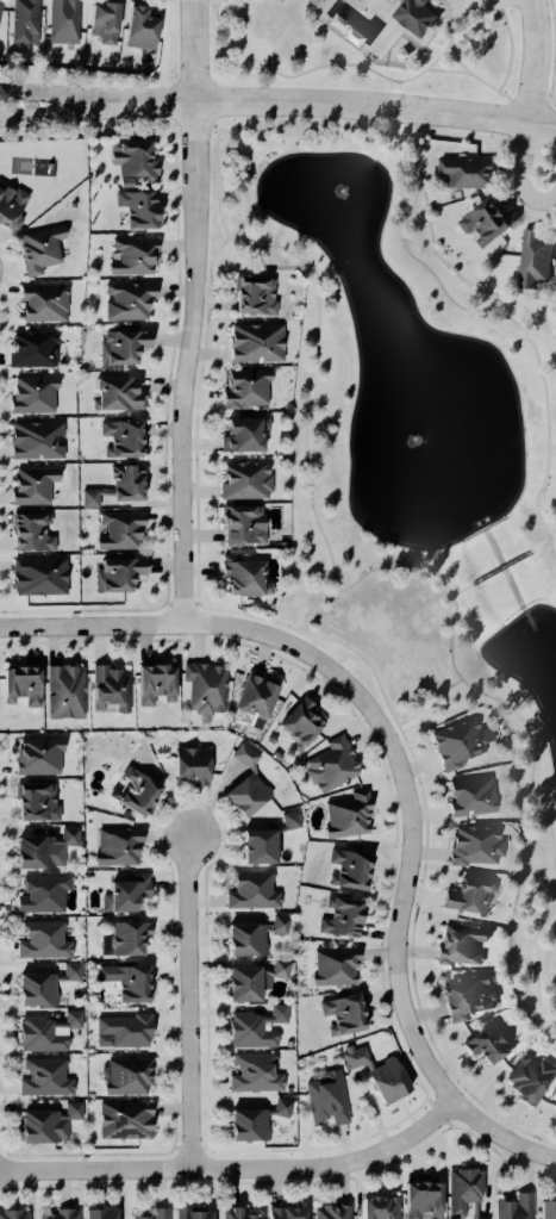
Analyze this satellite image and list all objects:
street lamp: (437, 2)
road: (474, 2)
road: (500, 4)
building: (0, 6)
road: (430, 6)
parking lot: (466, 6)
building: (413, 15)
building: (62, 20)
building: (23, 21)
building: (101, 21)
building: (138, 29)
road: (221, 33)
park: (362, 46)
road: (510, 50)
road: (554, 52)
road: (457, 61)
road: (532, 61)
road: (338, 63)
road: (444, 68)
road: (213, 80)
road: (193, 82)
street lamp: (548, 91)
road: (69, 93)
road: (527, 99)
street lamp: (491, 100)
road: (548, 100)
road: (175, 101)
road: (211, 102)
road: (348, 105)
road: (68, 108)
road: (510, 117)
street lamp: (107, 119)
street lamp: (358, 120)
road: (193, 122)
road: (174, 124)
road: (213, 125)
road: (413, 129)
road: (532, 138)
road: (507, 139)
road: (523, 154)
building: (131, 160)
building: (463, 170)
building: (124, 181)
street lamp: (181, 188)
road: (535, 201)
building: (10, 206)
building: (136, 207)
fountain: (341, 207)
building: (482, 220)
road: (226, 238)
building: (37, 248)
road: (215, 249)
building: (131, 254)
building: (531, 257)
road: (5, 269)
street lamp: (0, 281)
building: (252, 294)
building: (125, 299)
building: (42, 301)
road: (195, 311)
road: (500, 313)
road: (316, 330)
building: (255, 342)
building: (119, 346)
building: (30, 348)
building: (244, 386)
building: (30, 393)
building: (114, 393)
road: (196, 434)
building: (240, 434)
building: (119, 437)
fountain: (426, 437)
building: (33, 440)
road: (550, 446)
road: (165, 447)
street lamp: (171, 464)
park: (413, 467)
building: (243, 479)
building: (123, 480)
building: (30, 485)
building: (89, 496)
building: (239, 523)
building: (118, 529)
building: (29, 531)
road: (539, 543)
road: (549, 555)
road: (499, 566)
building: (114, 573)
building: (37, 576)
building: (242, 576)
road: (360, 576)
road: (457, 589)
road: (168, 602)
road: (194, 602)
road: (182, 603)
road: (245, 612)
street lamp: (133, 614)
street lamp: (10, 636)
street lamp: (246, 641)
road: (361, 658)
street lamp: (354, 676)
building: (152, 682)
building: (18, 685)
building: (107, 686)
building: (202, 686)
building: (62, 691)
building: (251, 695)
road: (420, 704)
building: (298, 722)
street lamp: (402, 741)
road: (406, 741)
building: (457, 741)
building: (36, 754)
building: (243, 755)
building: (188, 764)
building: (329, 764)
road: (400, 770)
building: (133, 791)
building: (244, 794)
building: (469, 795)
road: (531, 795)
building: (33, 801)
street lamp: (205, 810)
building: (345, 815)
building: (286, 820)
building: (64, 836)
building: (115, 845)
building: (473, 845)
building: (255, 846)
street lamp: (401, 847)
building: (31, 852)
building: (346, 869)
street lamp: (177, 871)
building: (250, 890)
building: (40, 893)
building: (123, 893)
building: (467, 896)
building: (338, 916)
street lamp: (389, 919)
building: (275, 923)
building: (126, 937)
building: (40, 939)
building: (243, 939)
building: (457, 944)
building: (332, 965)
building: (277, 968)
building: (67, 971)
building: (124, 981)
building: (244, 982)
road: (413, 983)
building: (33, 989)
building: (466, 994)
road: (192, 1001)
street lamp: (180, 1007)
building: (341, 1013)
building: (274, 1014)
building: (67, 1019)
building: (120, 1030)
building: (246, 1031)
building: (37, 1034)
building: (486, 1043)
building: (354, 1057)
building: (252, 1072)
building: (125, 1075)
building: (42, 1076)
building: (527, 1077)
building: (385, 1080)
building: (324, 1097)
building: (277, 1107)
building: (555, 1109)
road: (439, 1112)
street lamp: (424, 1115)
building: (121, 1120)
building: (45, 1122)
building: (245, 1125)
street lamp: (201, 1134)
street lamp: (491, 1142)
road: (177, 1146)
road: (192, 1146)
road: (207, 1146)
road: (256, 1149)
street lamp: (23, 1162)
road: (235, 1167)
street lamp: (171, 1180)
street lamp: (310, 1180)
road: (291, 1182)
building: (461, 1188)
building: (420, 1199)
building: (377, 1207)
building: (513, 1207)
building: (546, 1209)
building: (330, 1212)
building: (474, 1212)
building: (152, 1213)
building: (233, 1213)
building: (285, 1213)
building: (13, 1214)
building: (61, 1214)
building: (98, 1214)
building: (188, 1214)

